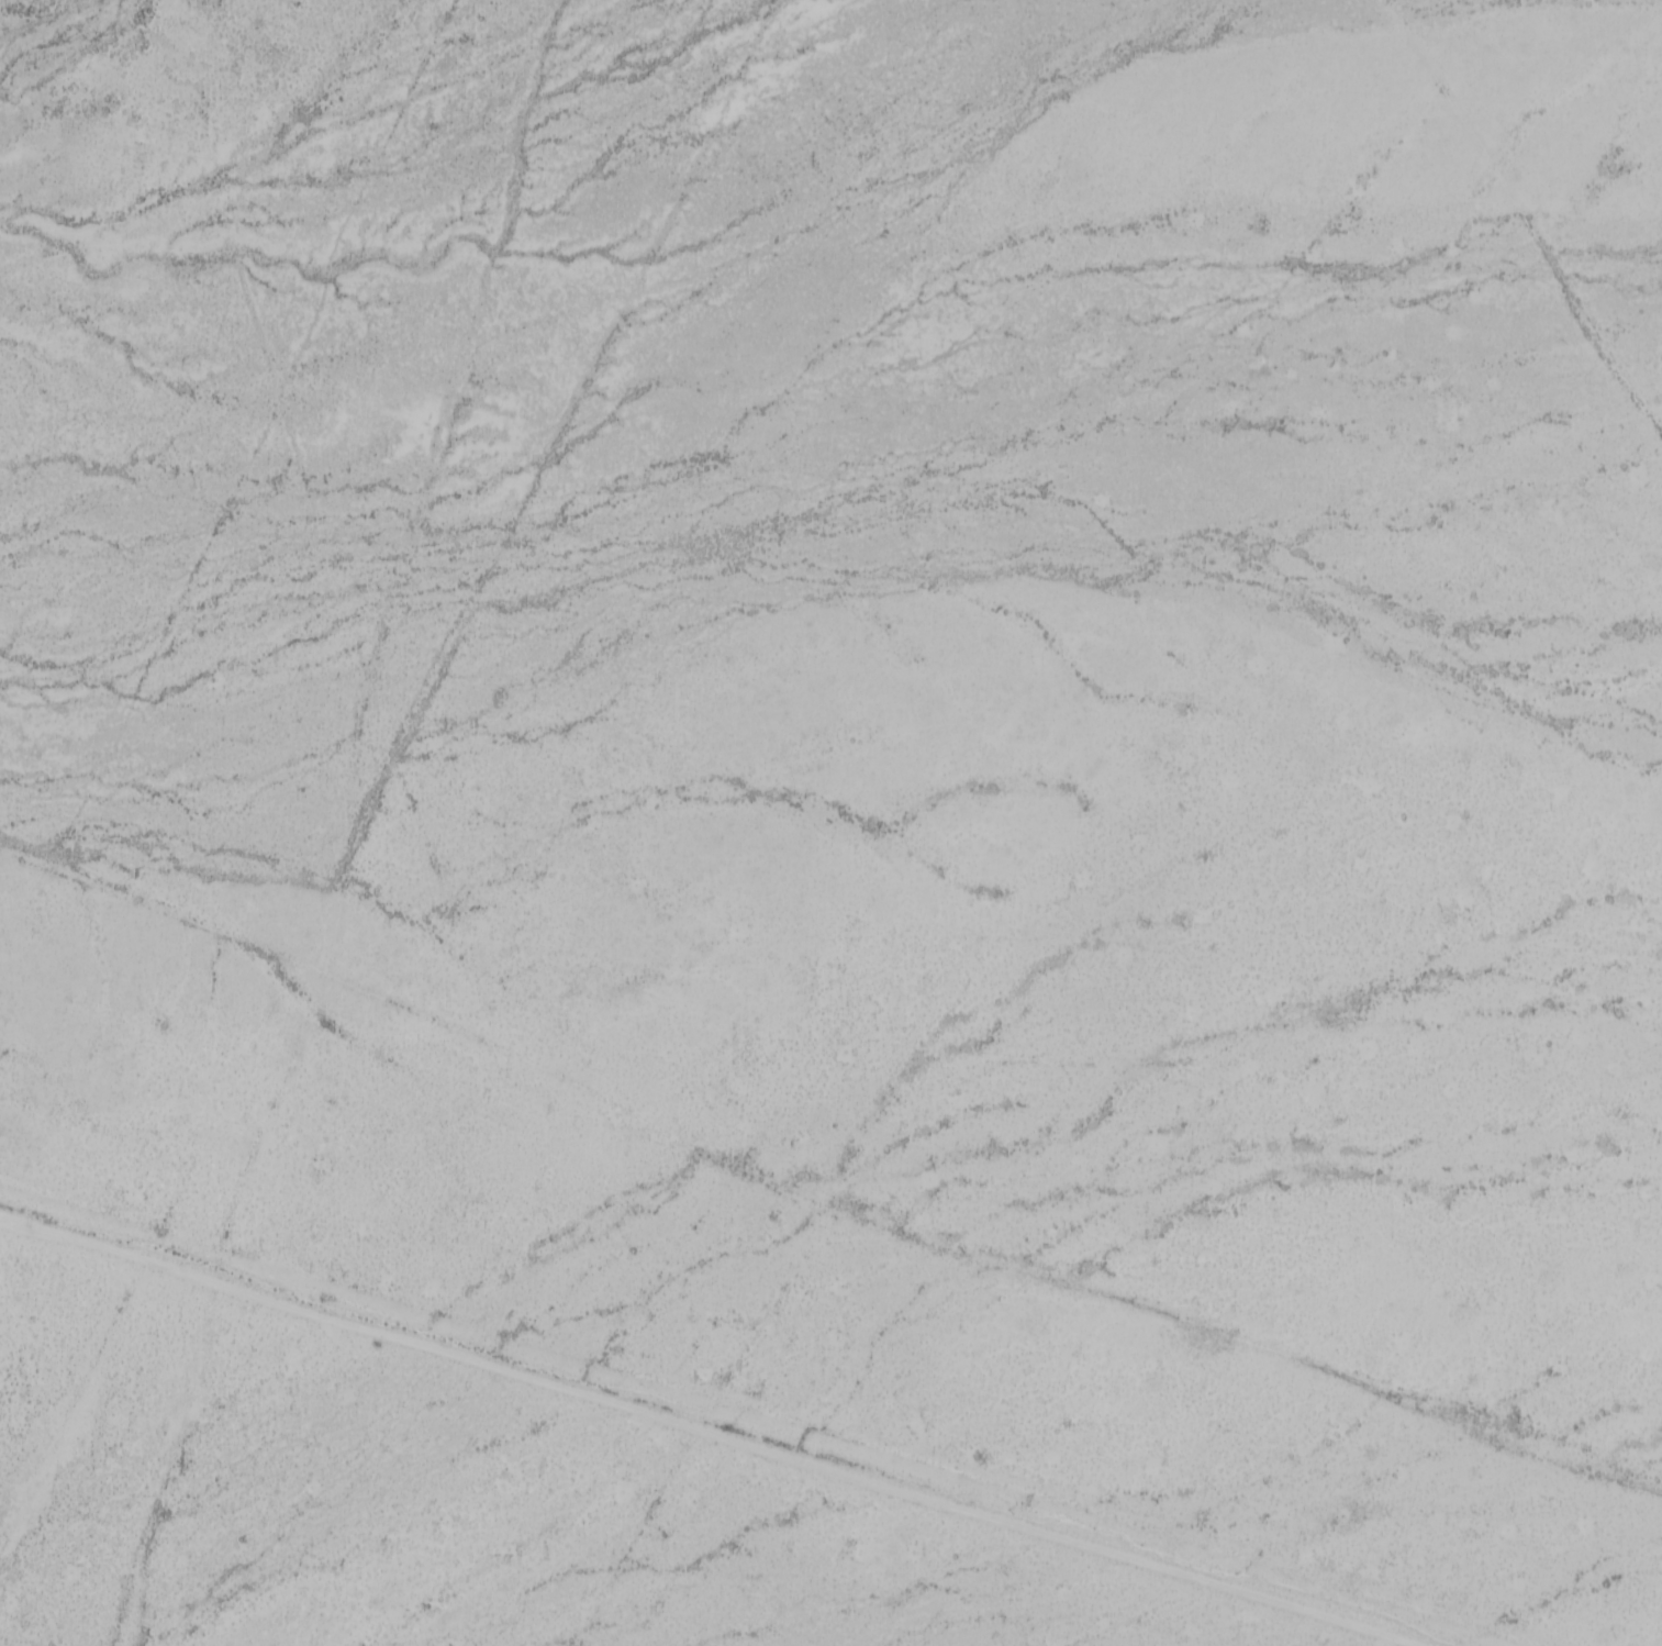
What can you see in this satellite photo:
road: (1527, 204)
road: (734, 1424)

